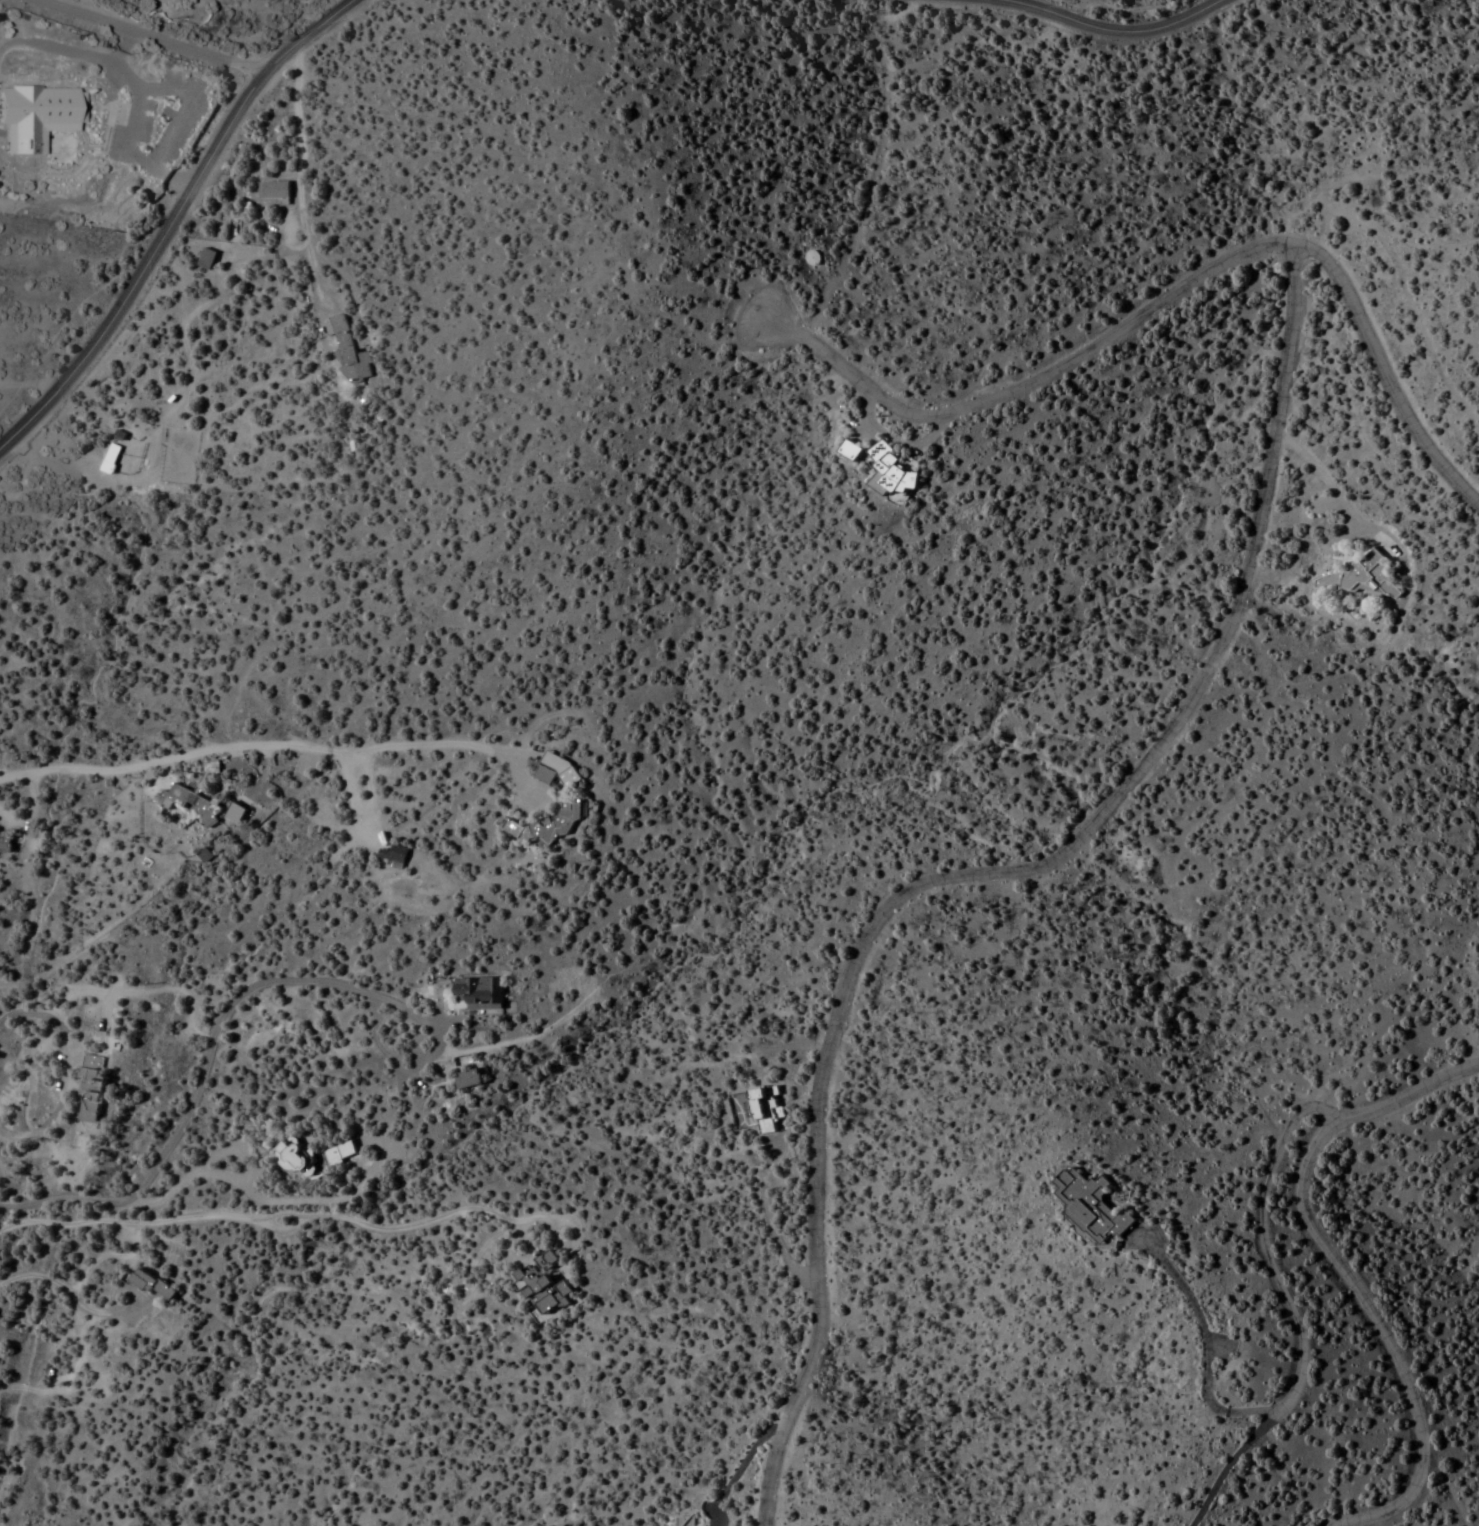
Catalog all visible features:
building: (185, 0)
road: (1112, 29)
road: (150, 36)
building: (275, 189)
road: (173, 219)
building: (208, 258)
road: (1168, 299)
building: (350, 352)
building: (852, 450)
building: (110, 457)
building: (893, 474)
building: (1362, 576)
road: (254, 757)
building: (557, 770)
building: (418, 786)
building: (189, 801)
building: (235, 811)
building: (550, 822)
building: (395, 855)
road: (986, 871)
building: (478, 994)
building: (466, 1079)
building: (89, 1094)
building: (766, 1109)
building: (337, 1153)
building: (296, 1159)
building: (1096, 1205)
road: (261, 1218)
road: (1343, 1270)
building: (152, 1285)
building: (540, 1286)
building: (684, 1521)

